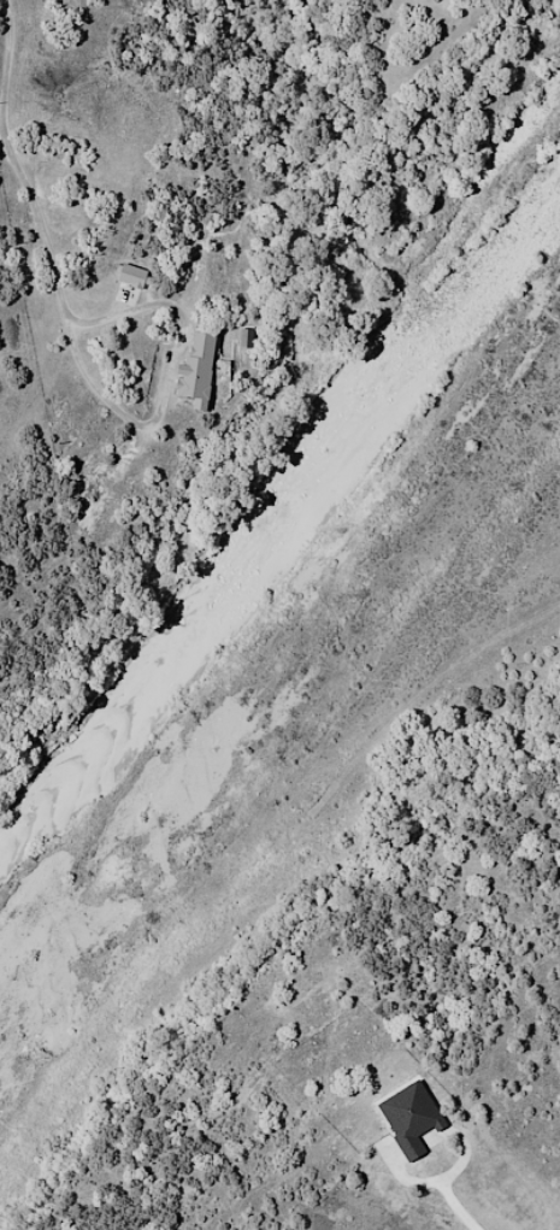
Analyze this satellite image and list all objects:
building: (461, 4)
road: (49, 252)
building: (130, 275)
building: (196, 367)
river: (279, 516)
building: (413, 1119)

